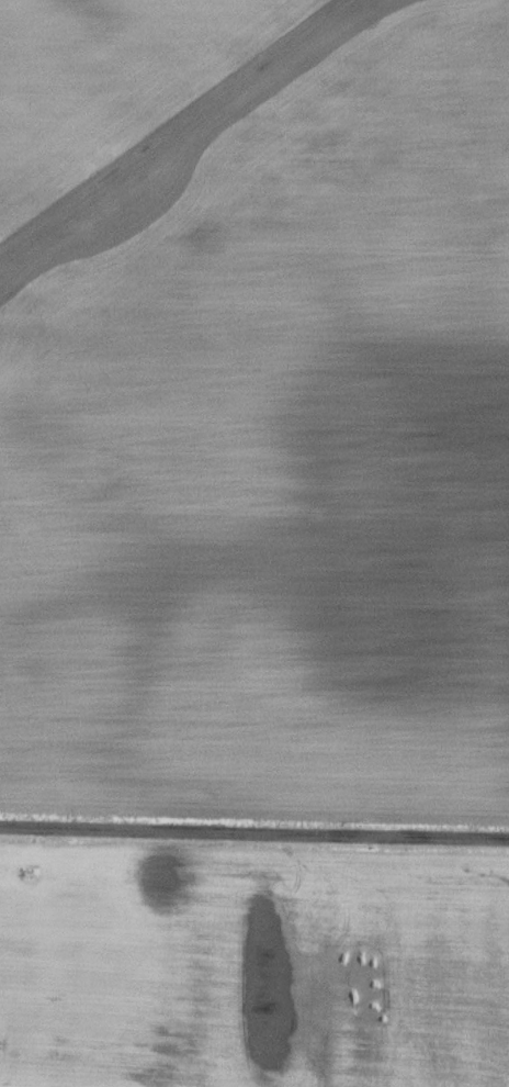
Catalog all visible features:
road: (253, 834)

